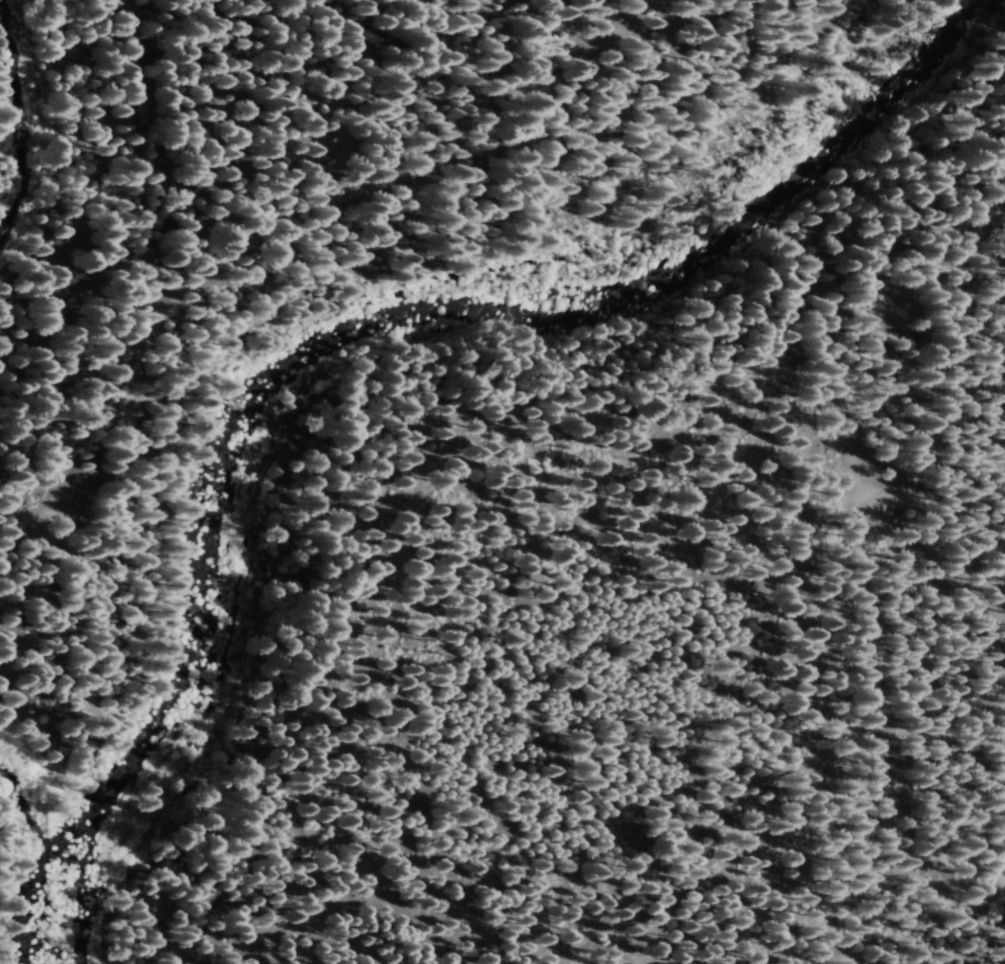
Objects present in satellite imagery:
road: (375, 192)

